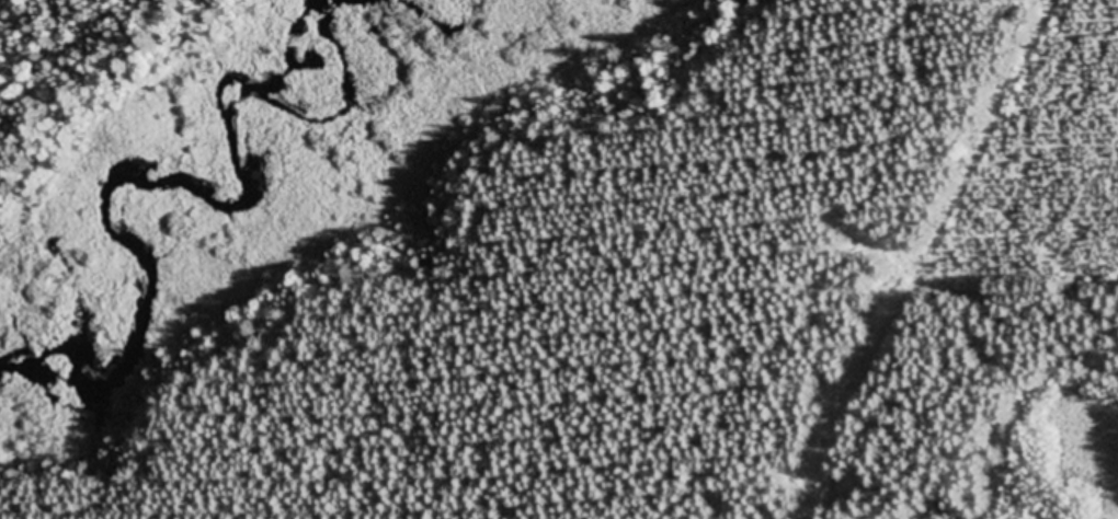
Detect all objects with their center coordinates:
road: (1014, 426)

